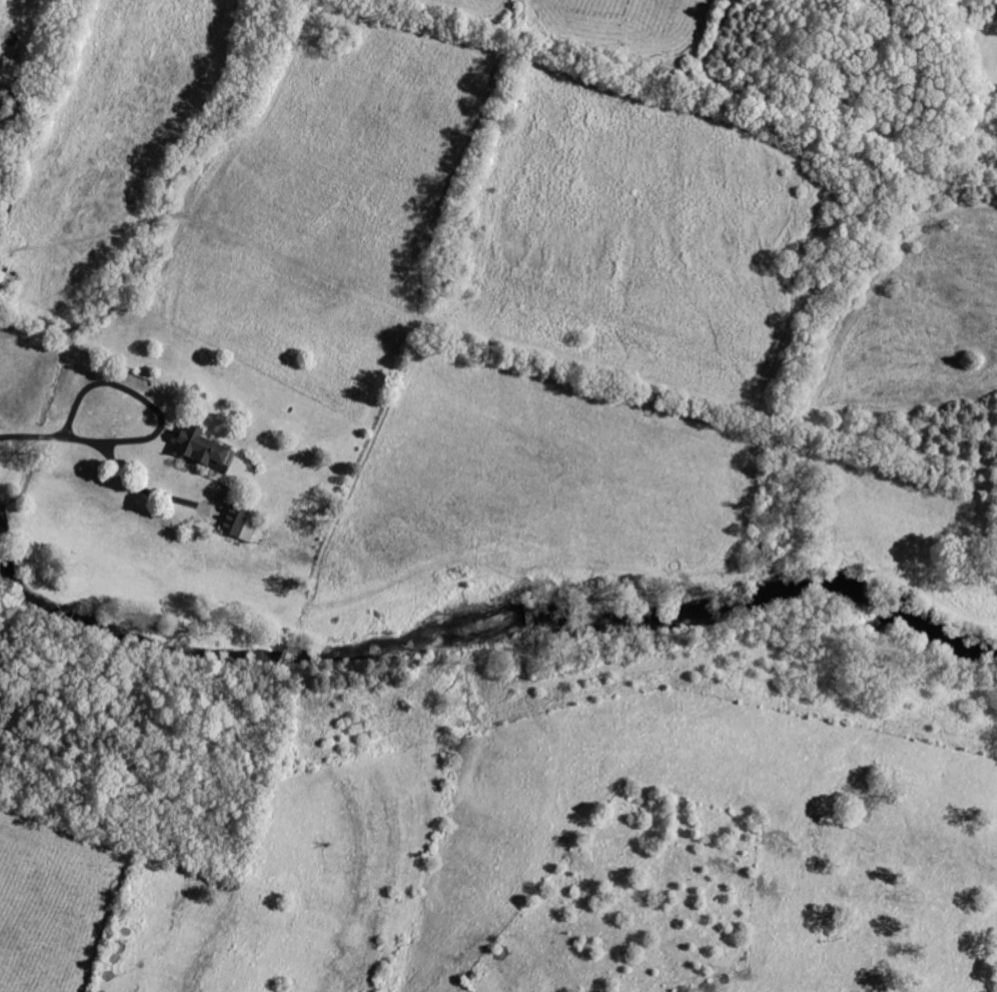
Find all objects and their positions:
building: (6, 280)
road: (150, 405)
road: (33, 438)
building: (201, 451)

